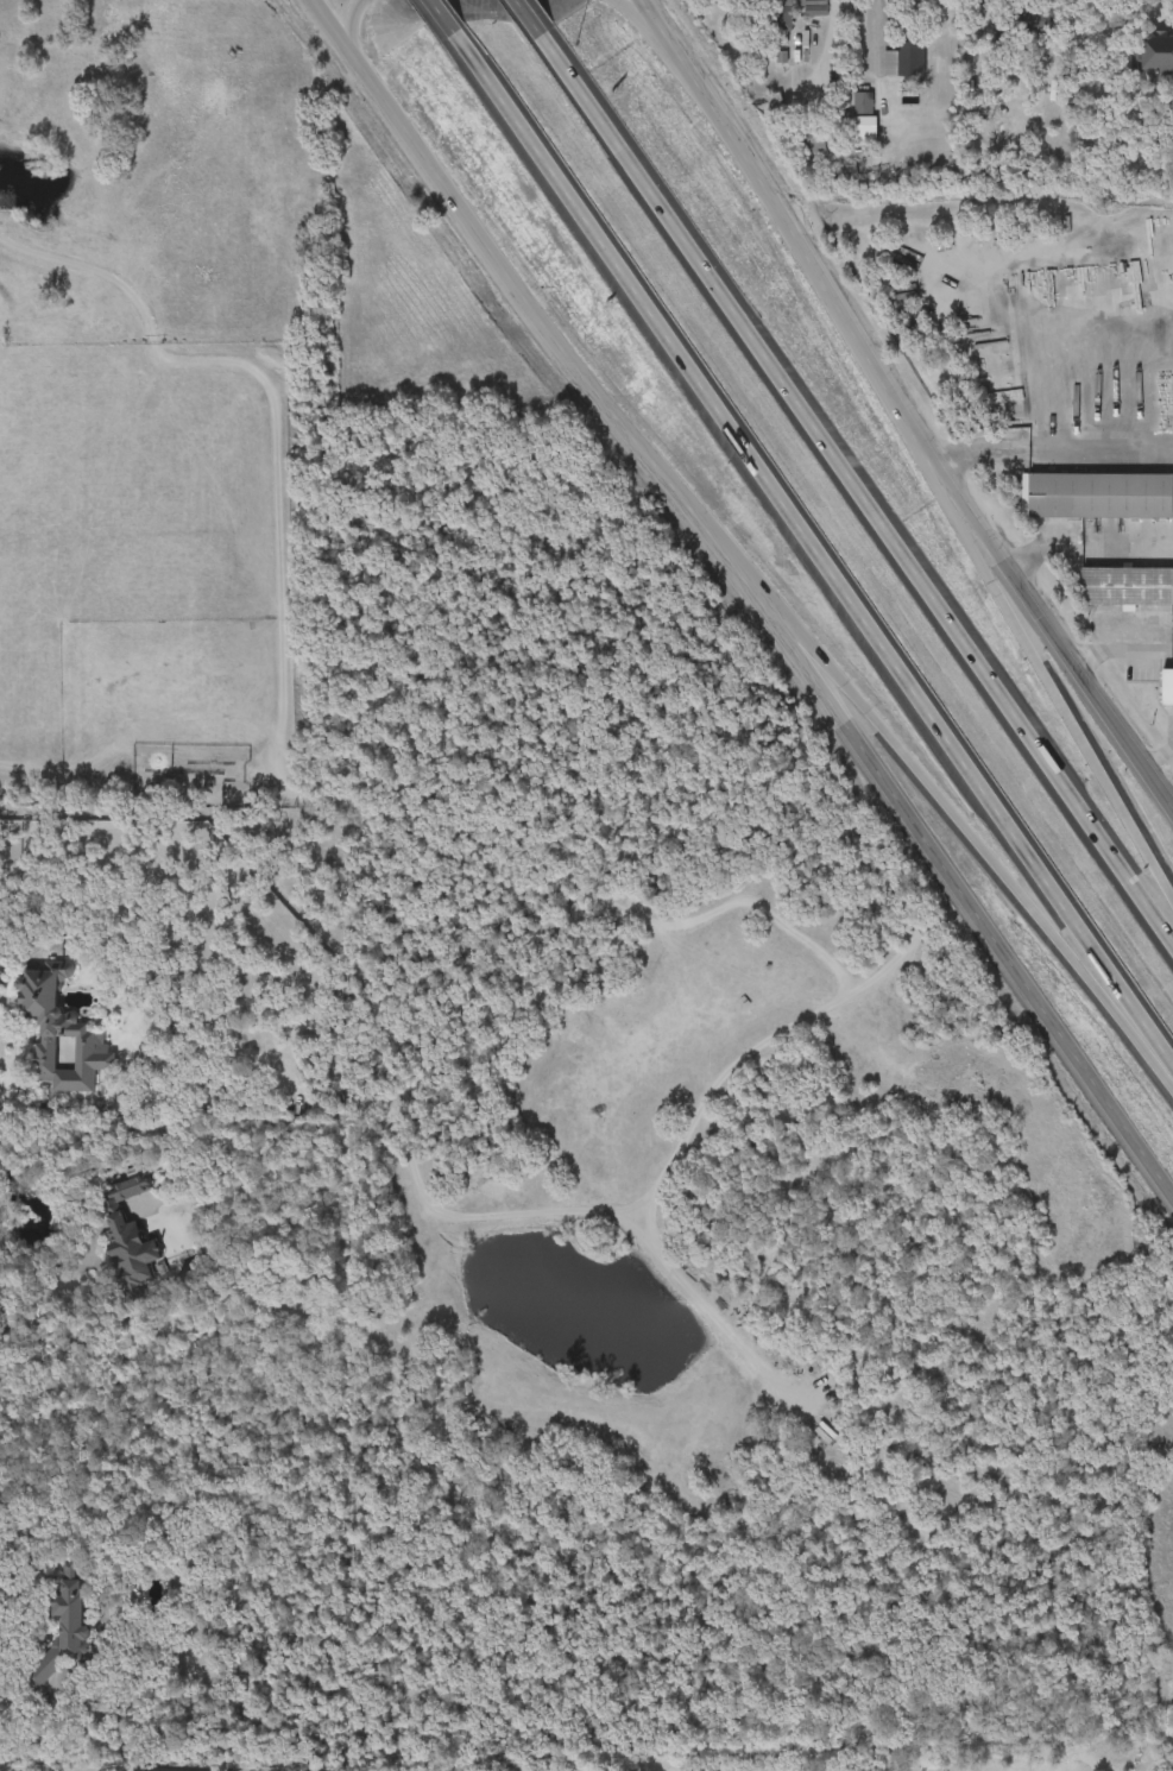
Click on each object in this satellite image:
road: (1155, 8)
building: (781, 13)
road: (448, 14)
road: (536, 15)
road: (644, 17)
road: (875, 24)
road: (349, 27)
building: (903, 61)
building: (809, 134)
road: (898, 409)
road: (1053, 453)
road: (858, 487)
building: (1098, 494)
road: (816, 546)
road: (1086, 550)
building: (1127, 586)
road: (749, 593)
road: (1049, 686)
building: (1167, 687)
road: (922, 775)
building: (50, 1016)
road: (2, 1032)
building: (125, 1234)
road: (58, 1294)
road: (6, 1543)
building: (58, 1630)

